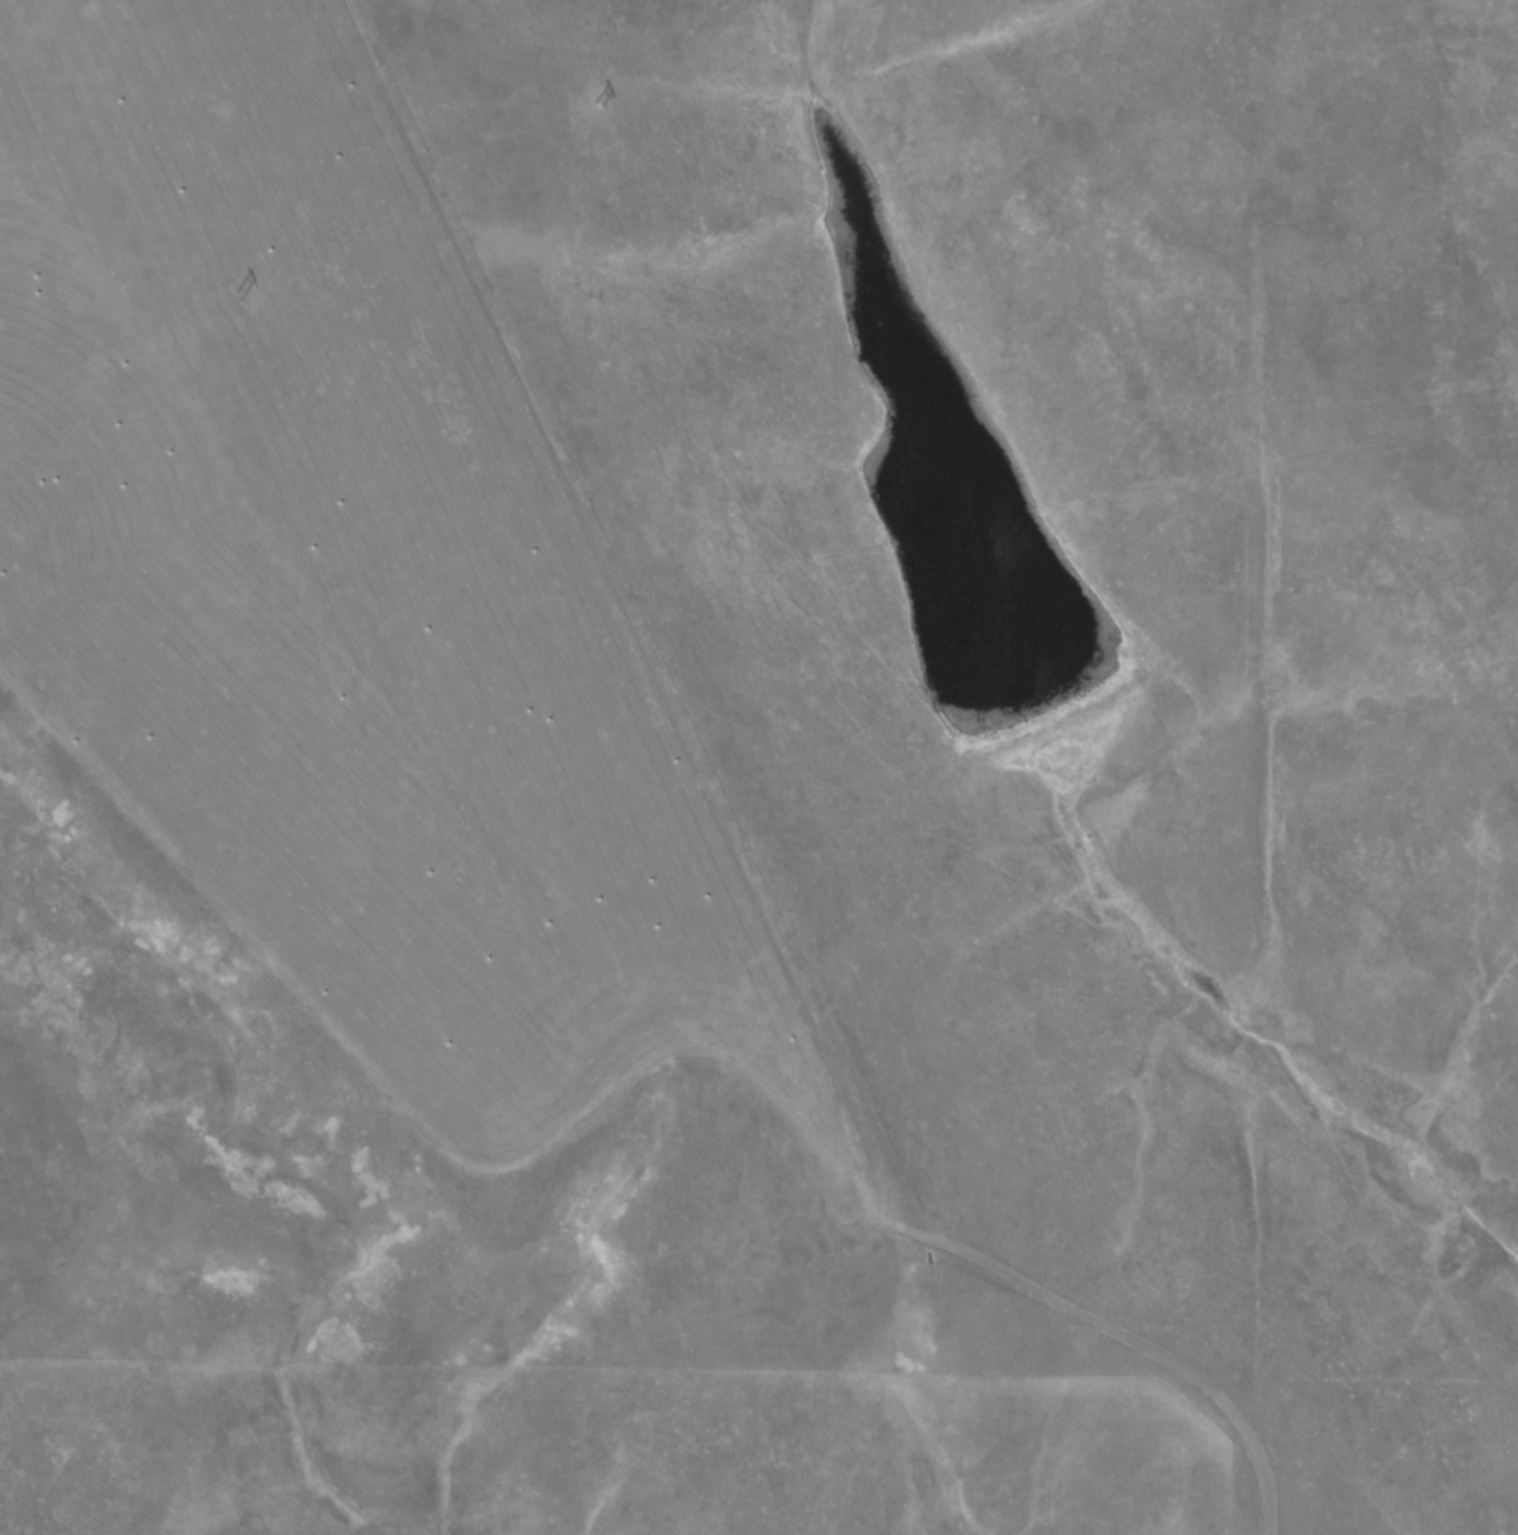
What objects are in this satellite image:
power tower: (596, 106)
power tower: (239, 294)
road: (627, 614)
road: (418, 1119)
road: (1132, 1342)

